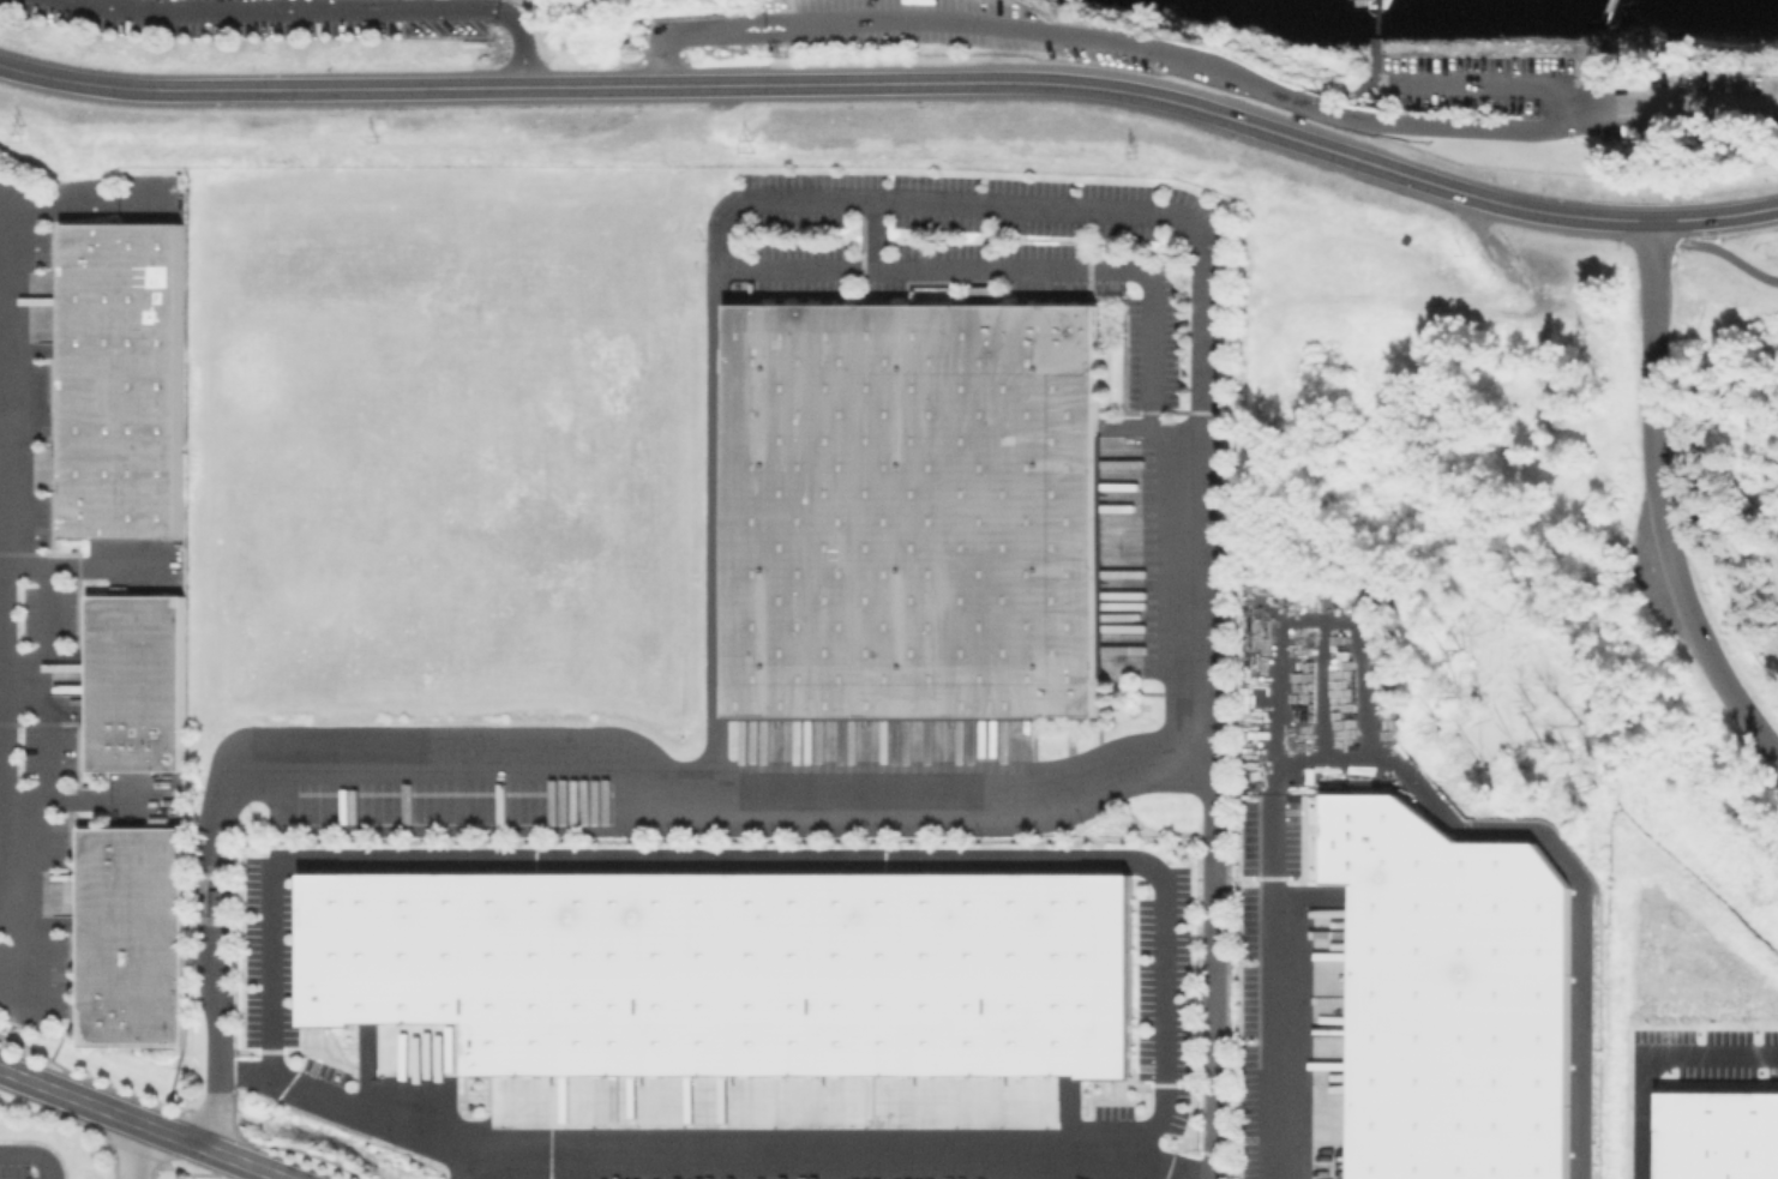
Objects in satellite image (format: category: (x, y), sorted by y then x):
building: (1362, 1)
pier: (1605, 10)
road: (326, 11)
pier: (1376, 26)
road: (1599, 53)
road: (1203, 62)
road: (833, 83)
road: (1497, 85)
road: (1360, 86)
park: (1692, 116)
road: (1714, 216)
road: (869, 235)
road: (1716, 248)
road: (1039, 269)
building: (124, 381)
building: (1556, 427)
park: (1732, 440)
road: (1657, 501)
building: (913, 510)
road: (1199, 513)
road: (1, 545)
road: (2, 642)
road: (1, 651)
building: (138, 684)
road: (36, 750)
road: (1, 759)
road: (1387, 764)
building: (603, 801)
road: (319, 856)
building: (133, 938)
road: (1209, 968)
building: (732, 972)
building: (1450, 997)
road: (215, 1024)
road: (1646, 1053)
road: (244, 1069)
road: (142, 1124)
building: (1717, 1135)
road: (137, 1150)
road: (30, 1156)
road: (465, 1162)
road: (245, 1172)
road: (1147, 1175)

